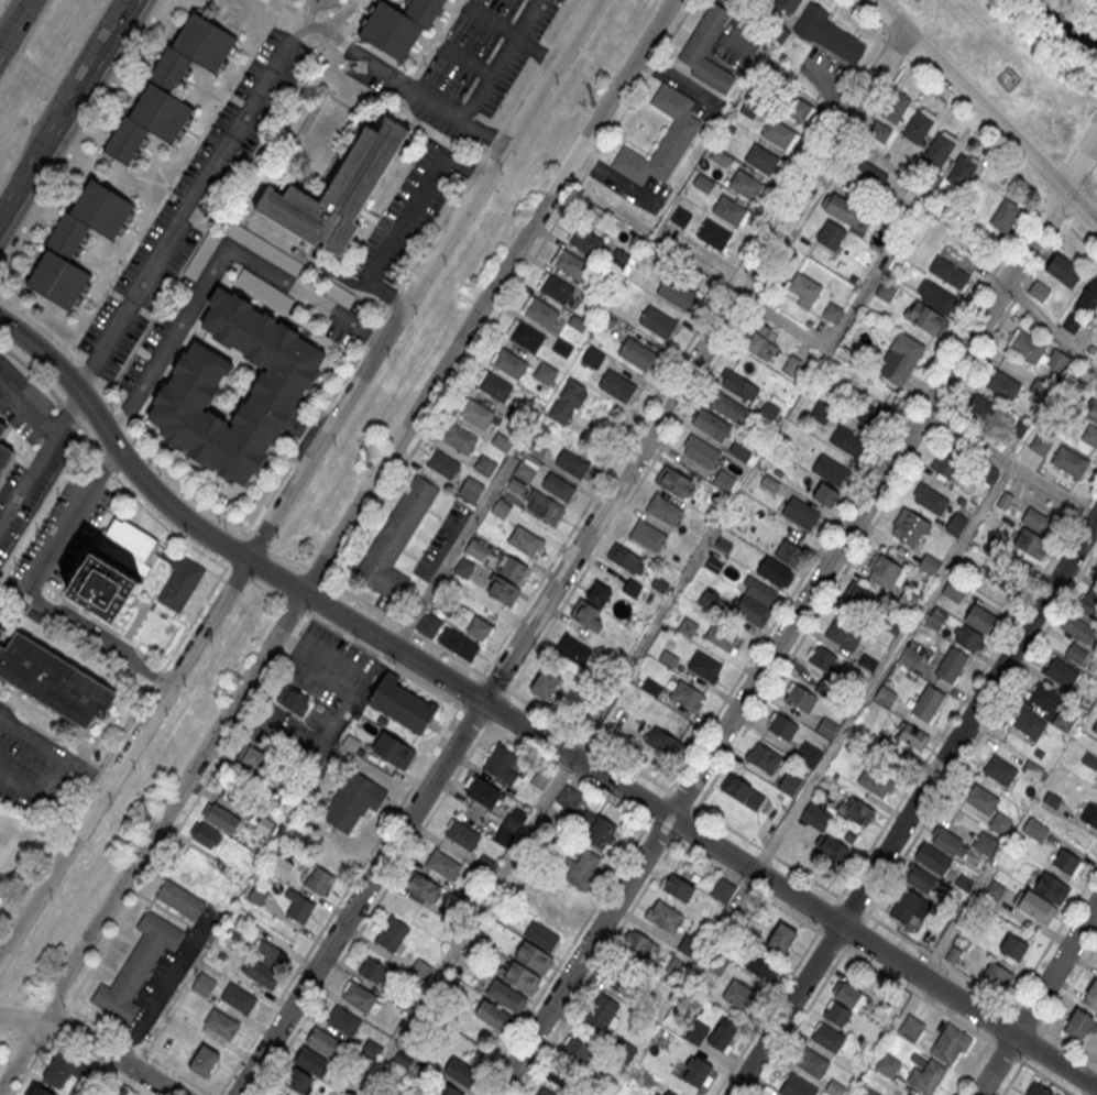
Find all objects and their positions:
building: (787, 6)
road: (863, 18)
road: (13, 21)
road: (490, 22)
river: (1068, 24)
building: (399, 25)
building: (829, 34)
road: (536, 50)
building: (706, 50)
road: (899, 56)
road: (468, 59)
road: (376, 66)
parking lot: (461, 67)
road: (64, 83)
road: (486, 83)
building: (171, 86)
road: (81, 87)
parking lot: (691, 91)
power tower: (592, 103)
building: (793, 106)
building: (895, 107)
road: (985, 112)
building: (917, 128)
building: (779, 133)
road: (83, 136)
road: (1079, 136)
building: (662, 138)
road: (985, 141)
building: (939, 151)
building: (720, 157)
building: (761, 157)
road: (1056, 169)
building: (961, 172)
building: (868, 175)
building: (744, 183)
building: (702, 184)
parking lot: (633, 186)
building: (337, 190)
road: (14, 198)
parking lot: (191, 201)
building: (841, 208)
building: (728, 209)
road: (184, 216)
building: (1006, 216)
building: (681, 217)
road: (404, 220)
building: (714, 234)
building: (831, 236)
building: (585, 240)
building: (77, 241)
building: (571, 264)
road: (216, 267)
building: (1064, 271)
building: (950, 272)
building: (556, 288)
building: (804, 288)
building: (1039, 291)
building: (674, 292)
building: (885, 292)
building: (937, 297)
building: (1088, 299)
building: (832, 311)
building: (541, 313)
building: (925, 319)
building: (658, 321)
building: (1072, 324)
road: (1052, 326)
road: (836, 335)
building: (526, 336)
building: (760, 343)
building: (1025, 347)
building: (562, 349)
road: (73, 352)
building: (637, 352)
building: (900, 358)
building: (593, 359)
building: (1057, 361)
building: (509, 363)
building: (791, 366)
building: (545, 374)
building: (494, 385)
building: (617, 385)
building: (1002, 385)
building: (738, 387)
building: (1040, 387)
building: (187, 393)
building: (568, 402)
building: (984, 407)
building: (729, 409)
building: (867, 412)
building: (1091, 412)
building: (476, 413)
building: (770, 413)
building: (821, 413)
building: (517, 416)
road: (134, 419)
building: (711, 424)
building: (2, 427)
building: (1014, 427)
building: (1090, 434)
building: (459, 438)
building: (847, 440)
building: (502, 442)
building: (1041, 444)
building: (536, 450)
building: (701, 450)
parking lot: (53, 451)
building: (4, 455)
road: (39, 460)
road: (106, 462)
building: (441, 462)
building: (946, 463)
road: (1010, 463)
building: (1069, 463)
power tower: (368, 466)
building: (484, 466)
building: (571, 466)
building: (830, 469)
building: (524, 472)
road: (297, 478)
building: (724, 480)
building: (673, 483)
building: (558, 488)
building: (471, 490)
road: (854, 493)
building: (825, 494)
road: (892, 494)
building: (930, 497)
building: (1003, 501)
building: (502, 508)
building: (544, 508)
building: (665, 510)
building: (801, 513)
building: (1036, 522)
building: (956, 523)
building: (909, 526)
building: (648, 535)
building: (395, 539)
road: (333, 541)
building: (525, 541)
building: (1029, 544)
building: (130, 547)
building: (996, 547)
building: (476, 550)
road: (453, 552)
building: (789, 552)
road: (288, 559)
building: (626, 559)
road: (570, 562)
building: (930, 563)
building: (514, 570)
building: (886, 570)
building: (775, 571)
road: (251, 581)
building: (1005, 582)
building: (180, 584)
building: (661, 588)
road: (30, 589)
building: (103, 590)
building: (632, 590)
building: (503, 591)
building: (954, 591)
building: (599, 596)
building: (859, 599)
building: (709, 600)
building: (754, 602)
building: (1088, 602)
building: (445, 605)
building: (586, 615)
road: (794, 616)
building: (980, 618)
building: (936, 621)
building: (428, 625)
building: (688, 627)
building: (479, 629)
building: (1, 631)
building: (844, 634)
building: (723, 637)
building: (968, 638)
building: (459, 644)
building: (573, 650)
building: (1076, 654)
building: (909, 655)
building: (823, 658)
road: (385, 660)
road: (888, 660)
building: (951, 661)
building: (703, 664)
building: (1061, 671)
building: (54, 680)
building: (545, 685)
road: (967, 691)
building: (885, 693)
building: (687, 696)
building: (799, 697)
building: (1044, 699)
building: (293, 700)
building: (926, 700)
building: (402, 704)
road: (245, 718)
building: (1027, 721)
building: (1064, 721)
building: (781, 724)
building: (826, 725)
road: (526, 726)
building: (912, 737)
building: (660, 743)
road: (53, 749)
building: (394, 751)
building: (808, 752)
building: (763, 756)
building: (1089, 758)
building: (256, 759)
building: (500, 762)
building: (999, 767)
building: (1032, 770)
parking lot: (39, 774)
building: (788, 780)
building: (876, 782)
building: (482, 791)
building: (743, 791)
road: (37, 793)
building: (981, 797)
building: (1051, 797)
building: (352, 798)
building: (569, 798)
road: (914, 804)
building: (857, 812)
power tower: (146, 813)
building: (815, 813)
building: (1089, 814)
building: (220, 818)
building: (999, 820)
building: (514, 821)
building: (1034, 828)
building: (600, 832)
building: (462, 834)
building: (205, 835)
building: (948, 840)
building: (984, 841)
building: (834, 852)
building: (933, 858)
building: (1067, 862)
building: (442, 864)
building: (581, 869)
building: (316, 874)
building: (922, 879)
building: (676, 885)
building: (1051, 885)
road: (822, 886)
building: (421, 887)
building: (722, 888)
building: (994, 888)
building: (256, 896)
building: (179, 900)
road: (338, 901)
building: (1034, 904)
building: (299, 908)
building: (908, 908)
road: (371, 909)
building: (662, 913)
building: (557, 919)
road: (468, 927)
building: (392, 933)
building: (540, 934)
building: (781, 938)
road: (832, 939)
building: (640, 945)
building: (688, 945)
building: (1013, 949)
road: (1042, 952)
building: (952, 955)
building: (534, 956)
road: (560, 959)
building: (136, 964)
building: (265, 964)
building: (716, 964)
road: (594, 967)
building: (761, 967)
building: (372, 970)
building: (522, 976)
building: (997, 977)
building: (619, 978)
building: (202, 983)
road: (1071, 984)
building: (1091, 993)
building: (360, 995)
building: (507, 995)
building: (739, 995)
building: (848, 995)
building: (237, 996)
road: (1036, 998)
building: (835, 1011)
building: (602, 1012)
road: (766, 1012)
building: (493, 1014)
building: (342, 1018)
building: (220, 1021)
road: (798, 1021)
building: (1078, 1021)
building: (911, 1028)
building: (722, 1036)
building: (827, 1036)
building: (321, 1039)
road: (94, 1042)
building: (950, 1043)
road: (1071, 1043)
building: (309, 1059)
building: (812, 1060)
building: (204, 1061)
building: (888, 1063)
building: (570, 1064)
building: (61, 1071)
building: (460, 1072)
building: (695, 1072)
building: (926, 1075)
road: (1011, 1078)
road: (1049, 1078)
building: (297, 1082)
building: (797, 1085)
building: (443, 1089)
building: (37, 1091)
building: (1036, 1091)
building: (545, 1092)
building: (666, 1092)
building: (873, 1093)
building: (320, 1094)
building: (909, 1094)

